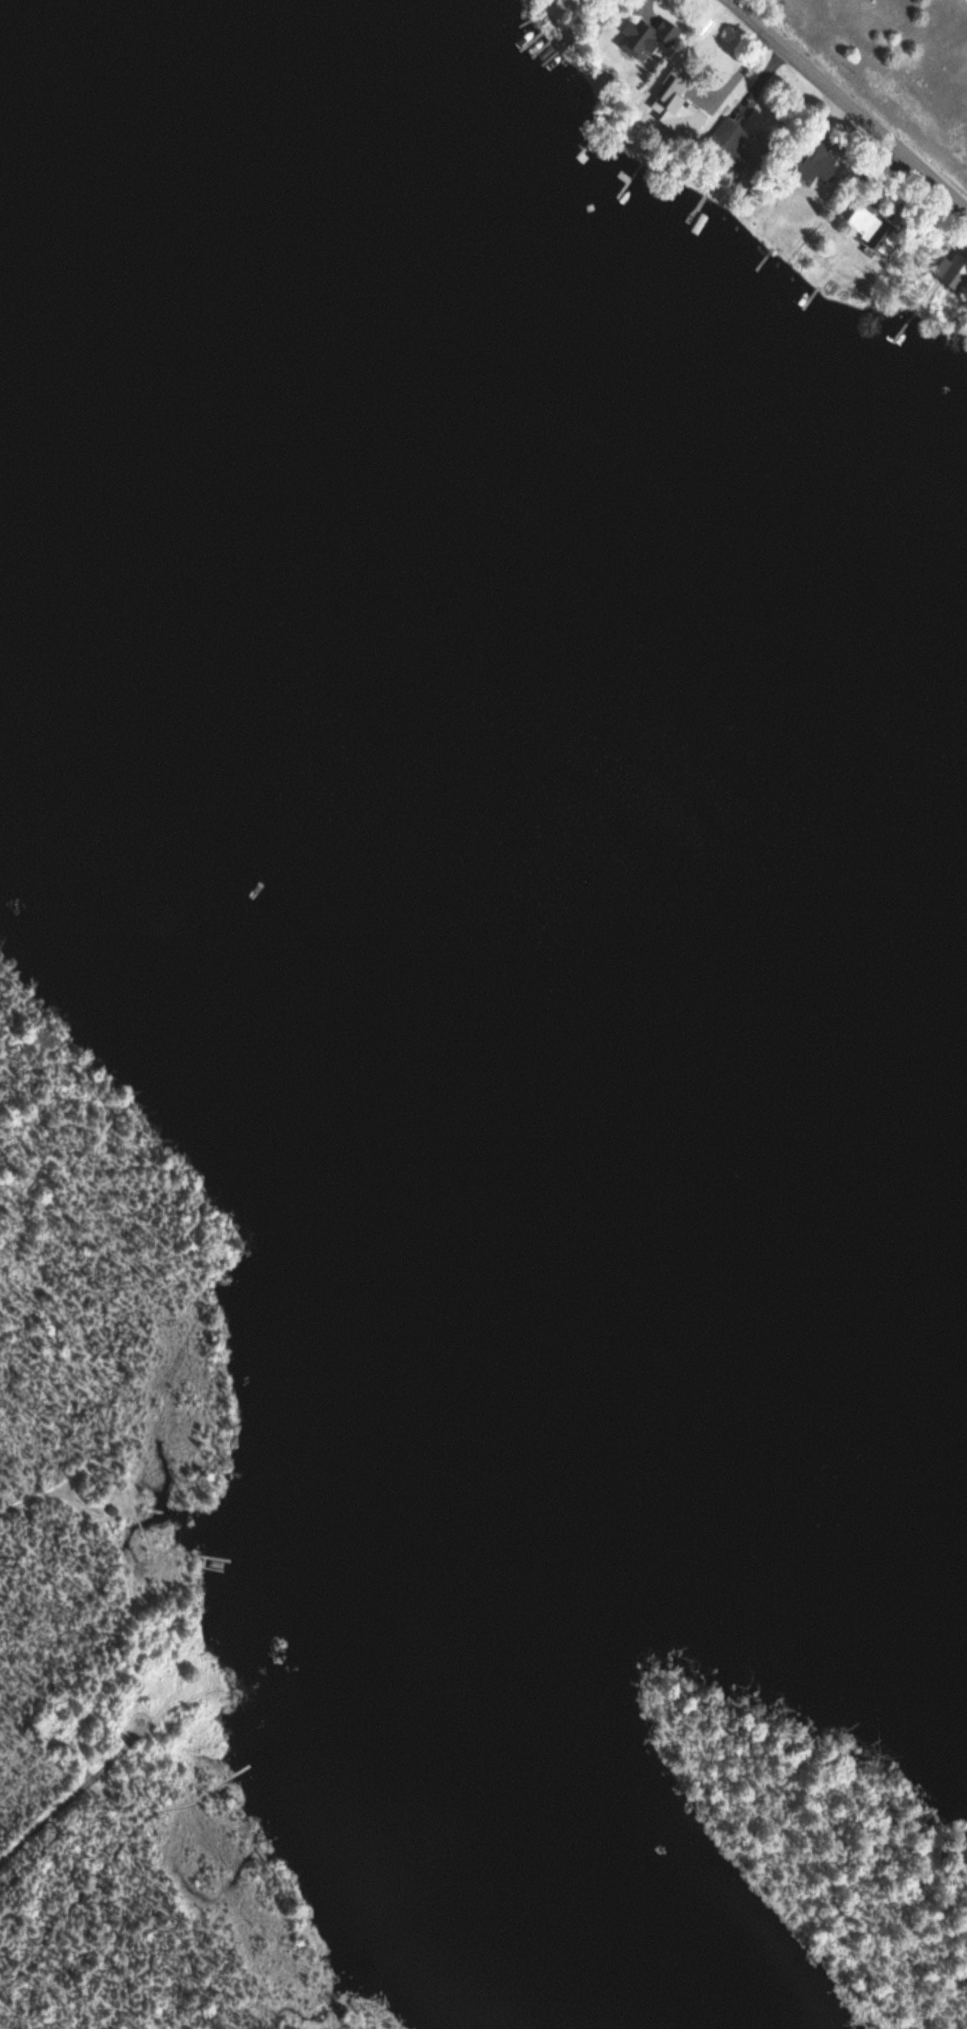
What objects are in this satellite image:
building: (647, 39)
building: (673, 102)
road: (845, 109)
building: (730, 144)
building: (872, 231)
road: (52, 1814)

